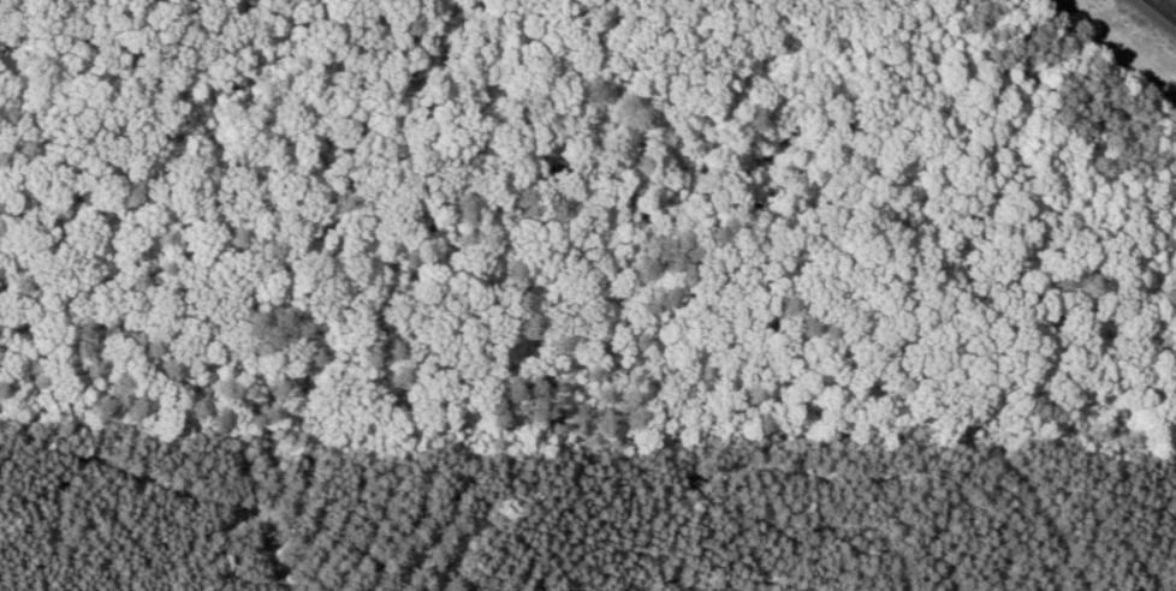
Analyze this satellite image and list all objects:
road: (1165, 7)

